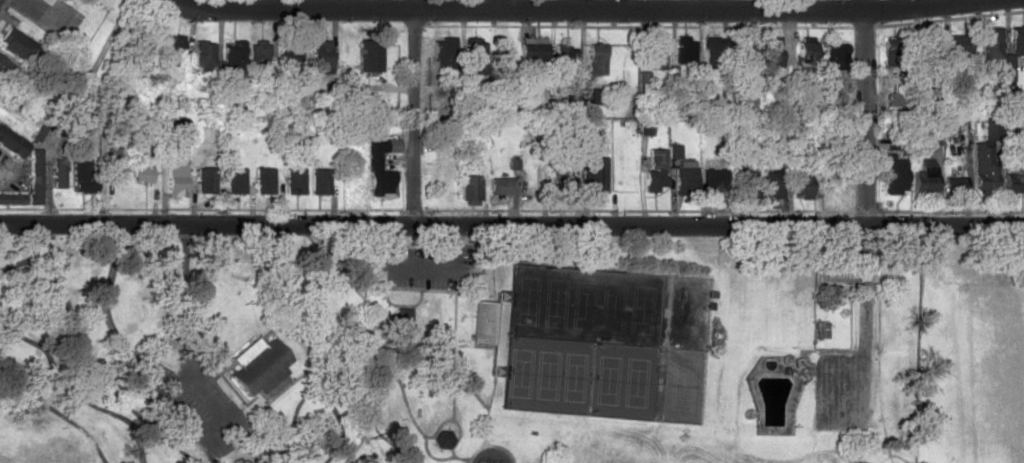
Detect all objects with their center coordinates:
building: (44, 1)
road: (414, 6)
road: (296, 9)
road: (688, 10)
building: (1017, 40)
building: (14, 43)
building: (990, 43)
building: (957, 45)
building: (808, 47)
building: (930, 48)
building: (172, 49)
building: (686, 50)
building: (532, 51)
building: (712, 51)
building: (770, 51)
building: (472, 52)
building: (258, 53)
building: (562, 53)
building: (444, 54)
building: (655, 54)
building: (203, 55)
building: (289, 55)
building: (368, 55)
building: (320, 56)
building: (834, 56)
building: (232, 58)
building: (595, 59)
building: (2, 65)
building: (1008, 70)
building: (895, 99)
road: (864, 112)
road: (414, 117)
building: (175, 128)
building: (893, 141)
building: (11, 143)
building: (674, 151)
building: (985, 157)
building: (373, 161)
building: (113, 164)
building: (655, 171)
building: (139, 172)
building: (595, 174)
building: (78, 175)
building: (894, 175)
building: (32, 176)
building: (57, 176)
building: (924, 176)
building: (744, 179)
building: (174, 180)
building: (204, 180)
building: (234, 180)
building: (263, 180)
building: (294, 181)
building: (319, 181)
building: (684, 181)
building: (713, 182)
building: (1013, 182)
building: (832, 183)
building: (953, 183)
building: (774, 184)
building: (804, 188)
building: (11, 197)
road: (207, 223)
road: (719, 224)
parking lot: (414, 266)
road: (415, 272)
road: (401, 289)
building: (401, 315)
road: (863, 324)
park: (603, 343)
road: (451, 347)
park: (510, 349)
road: (126, 350)
building: (257, 366)
park: (993, 373)
road: (392, 378)
road: (468, 388)
parking lot: (843, 392)
road: (484, 411)
road: (457, 429)
building: (441, 439)
road: (489, 446)

